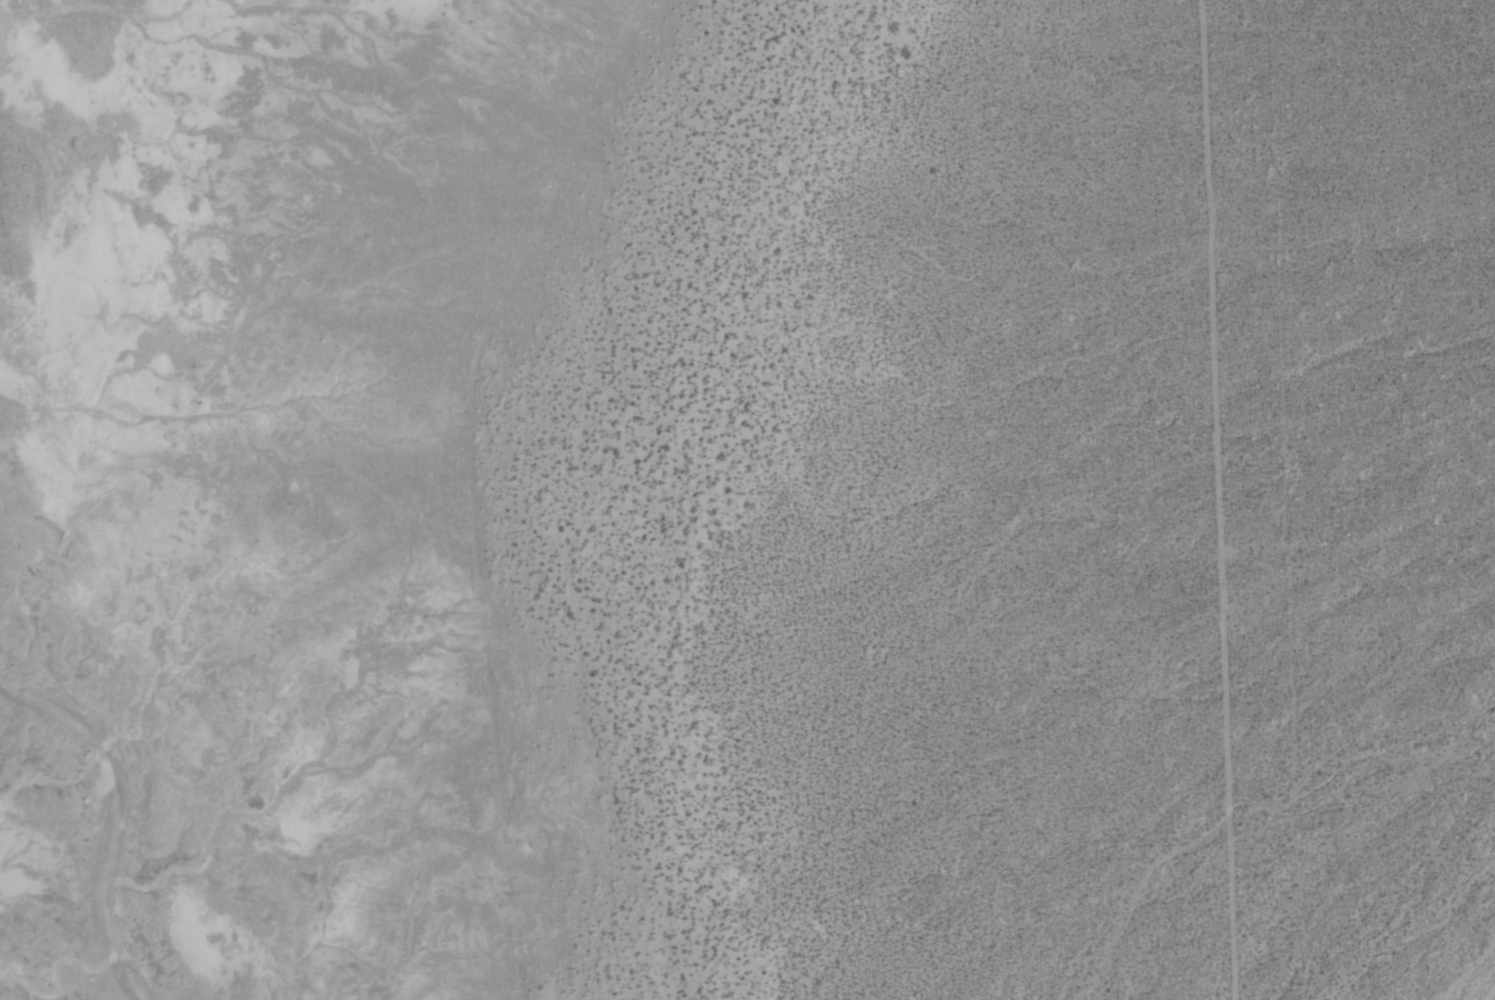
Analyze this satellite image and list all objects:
road: (1222, 500)
road: (601, 548)

